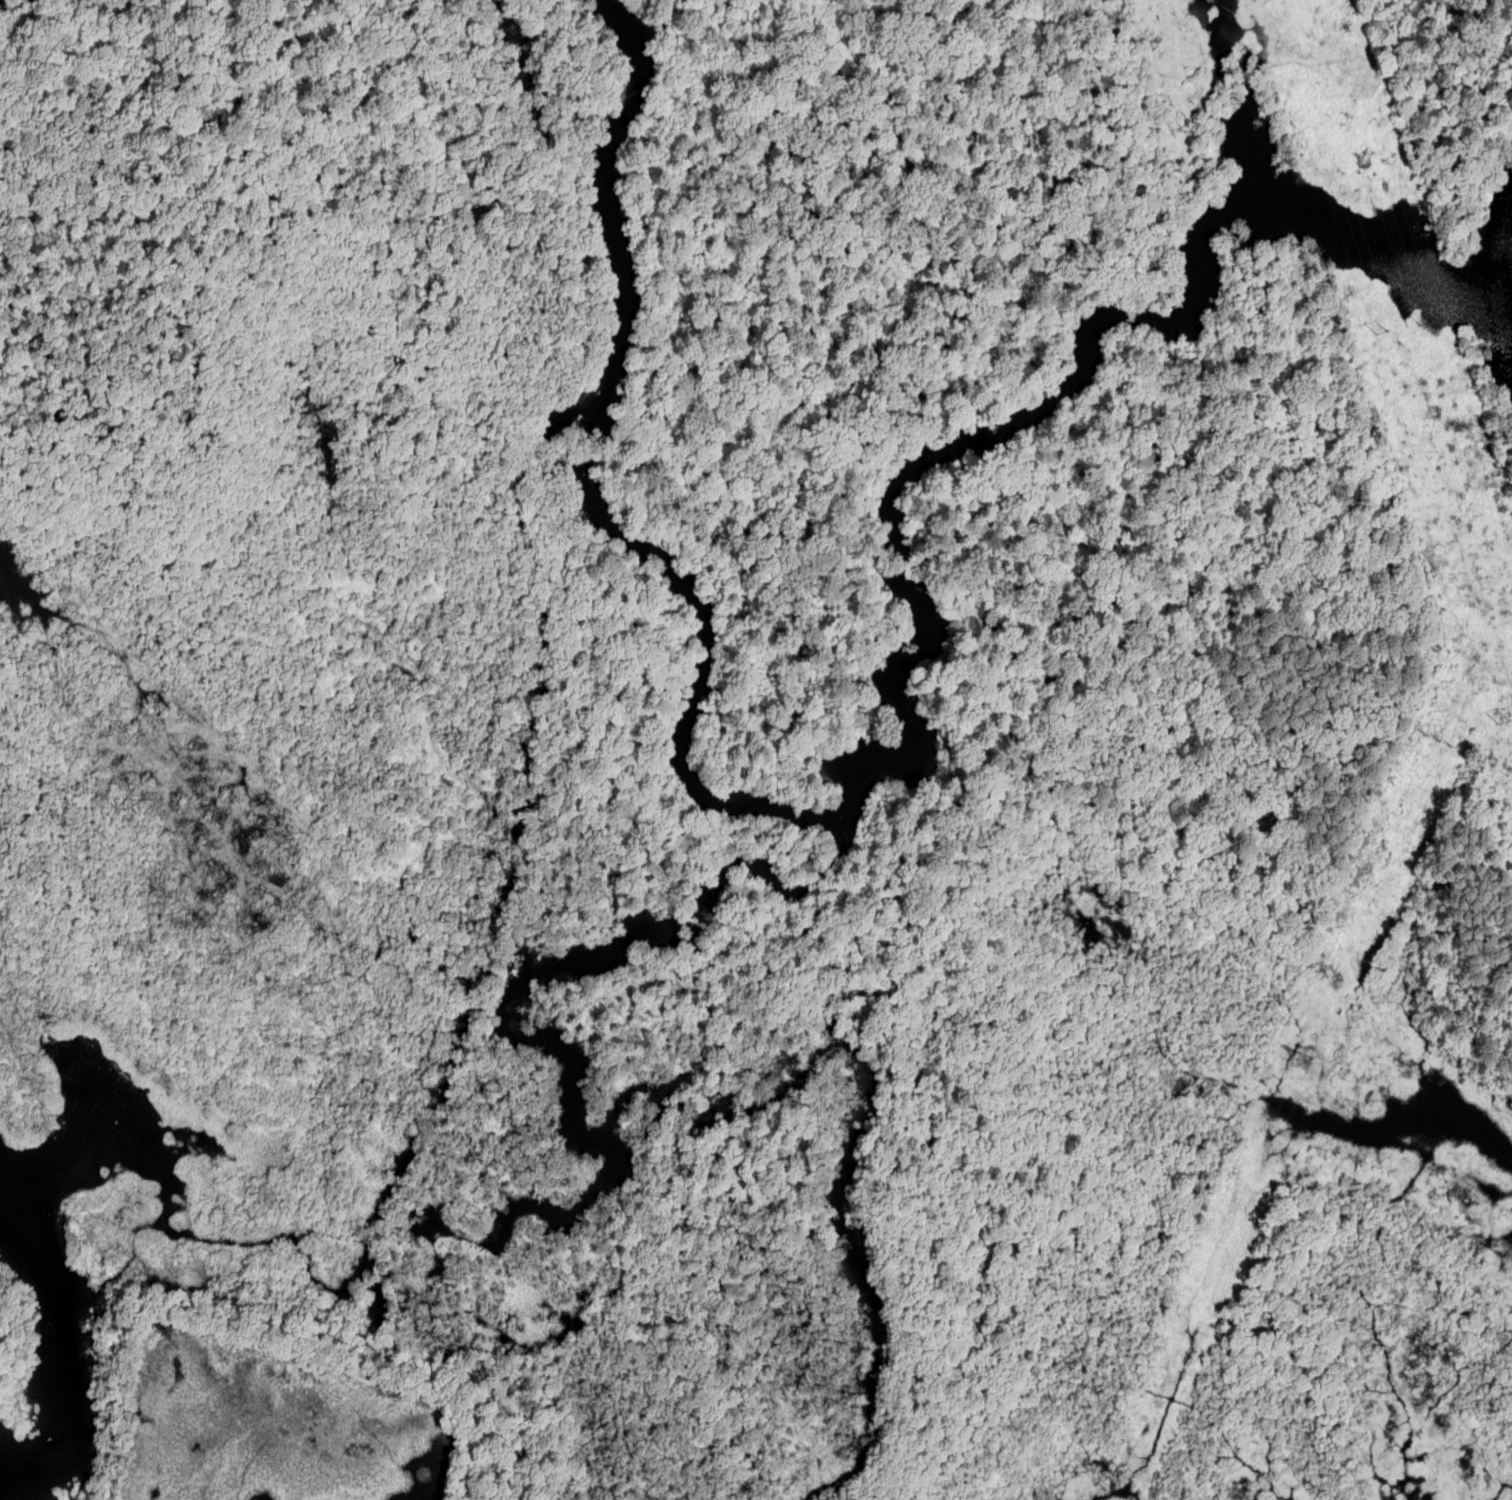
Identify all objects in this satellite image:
river: (1511, 294)
power tower: (1422, 320)
power tower: (1377, 331)
power tower: (1511, 724)
power tower: (1309, 1060)

